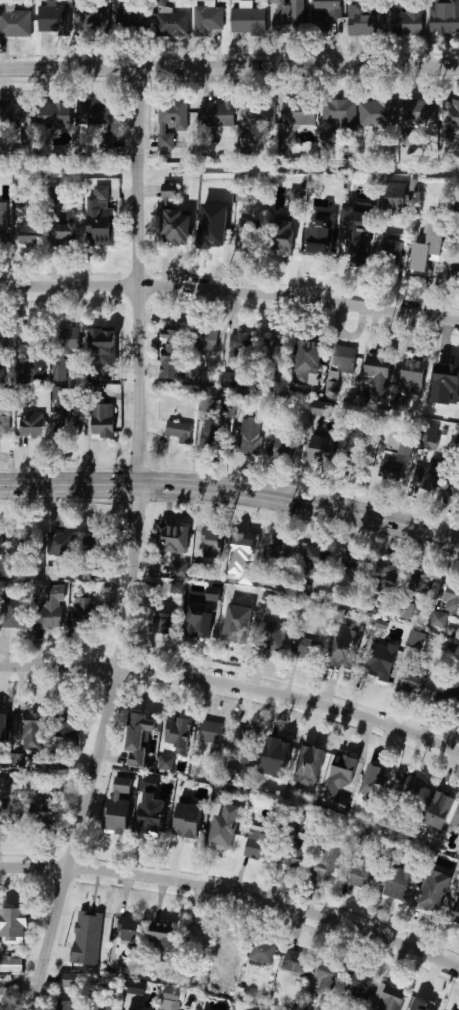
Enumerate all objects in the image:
building: (124, 0)
building: (326, 13)
building: (53, 17)
building: (289, 17)
building: (444, 18)
building: (408, 19)
building: (207, 20)
building: (248, 20)
building: (94, 21)
building: (369, 21)
building: (15, 23)
building: (130, 23)
building: (171, 24)
road: (229, 66)
building: (93, 112)
building: (172, 112)
building: (258, 112)
building: (298, 112)
building: (417, 112)
building: (359, 113)
building: (217, 114)
building: (14, 115)
building: (54, 115)
building: (450, 120)
building: (169, 192)
building: (56, 197)
building: (294, 198)
building: (393, 198)
building: (100, 218)
building: (213, 226)
building: (177, 228)
building: (3, 232)
building: (357, 232)
building: (321, 233)
building: (64, 234)
building: (29, 235)
building: (247, 236)
building: (283, 238)
building: (428, 246)
building: (389, 254)
building: (454, 269)
road: (230, 291)
building: (3, 340)
building: (83, 340)
building: (205, 341)
building: (31, 345)
building: (244, 346)
building: (272, 350)
building: (103, 353)
building: (173, 354)
building: (310, 355)
building: (343, 359)
building: (448, 373)
building: (2, 375)
building: (24, 375)
building: (379, 375)
building: (412, 376)
building: (332, 384)
building: (57, 391)
building: (96, 394)
building: (244, 402)
building: (401, 403)
building: (322, 408)
building: (4, 419)
building: (102, 421)
building: (31, 424)
building: (68, 424)
building: (177, 429)
building: (213, 435)
building: (248, 436)
building: (428, 441)
building: (400, 445)
building: (283, 449)
building: (321, 450)
building: (356, 460)
building: (390, 471)
building: (423, 480)
building: (454, 487)
road: (232, 491)
building: (171, 539)
building: (0, 543)
building: (24, 543)
building: (59, 544)
road: (133, 544)
building: (211, 544)
building: (246, 544)
building: (95, 545)
building: (280, 551)
building: (313, 561)
building: (349, 566)
building: (178, 568)
building: (385, 579)
building: (421, 583)
building: (177, 587)
building: (451, 593)
building: (251, 600)
building: (53, 606)
building: (407, 610)
building: (13, 612)
building: (81, 613)
building: (199, 619)
building: (438, 619)
building: (163, 622)
building: (234, 634)
building: (269, 636)
building: (417, 639)
building: (305, 649)
building: (342, 660)
building: (378, 664)
building: (412, 682)
road: (234, 683)
building: (448, 685)
building: (3, 720)
building: (32, 726)
building: (66, 726)
building: (141, 730)
building: (210, 732)
building: (181, 736)
building: (246, 745)
building: (277, 757)
building: (164, 763)
building: (310, 765)
building: (11, 779)
building: (373, 779)
building: (340, 780)
building: (125, 785)
building: (409, 787)
building: (43, 809)
building: (438, 809)
building: (12, 810)
building: (296, 811)
building: (455, 818)
building: (189, 820)
building: (149, 822)
building: (116, 825)
building: (226, 828)
building: (257, 848)
building: (297, 853)
building: (326, 864)
building: (365, 870)
building: (400, 881)
building: (435, 891)
road: (234, 893)
building: (455, 913)
building: (16, 923)
building: (128, 929)
building: (195, 937)
building: (162, 939)
building: (228, 949)
building: (84, 952)
building: (262, 952)
building: (294, 961)
building: (11, 965)
building: (183, 977)
building: (68, 979)
building: (327, 983)
building: (359, 984)
building: (134, 987)
building: (2, 988)
building: (170, 995)
building: (387, 998)
building: (101, 1004)
building: (422, 1004)
building: (64, 1005)
building: (134, 1009)
building: (244, 1009)
building: (248, 1009)
building: (452, 1009)

